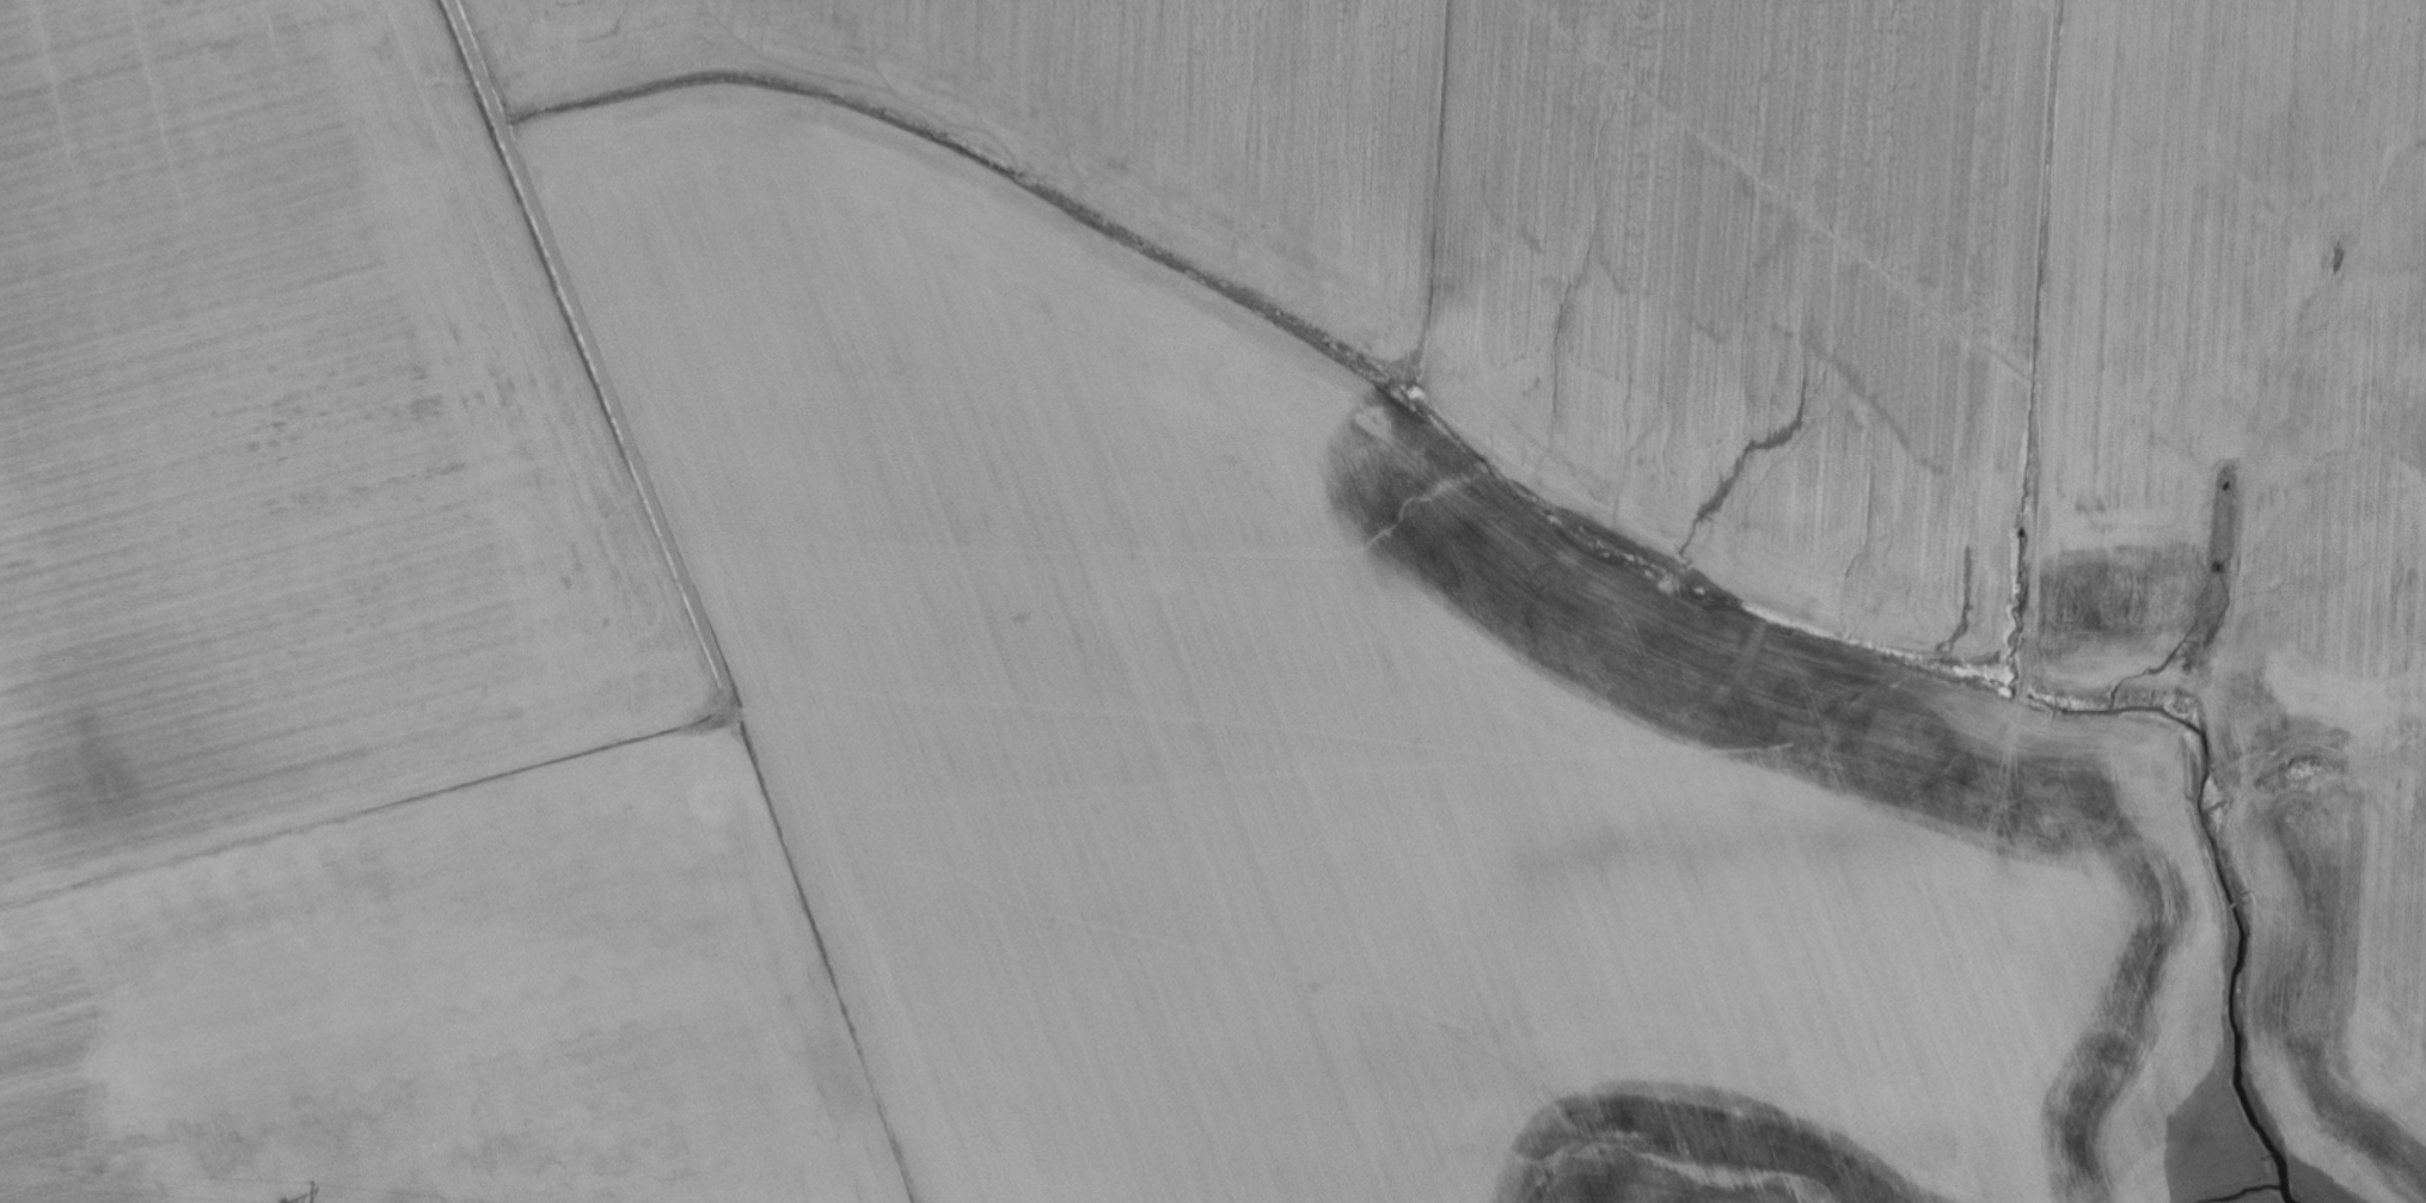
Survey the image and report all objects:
road: (598, 357)

